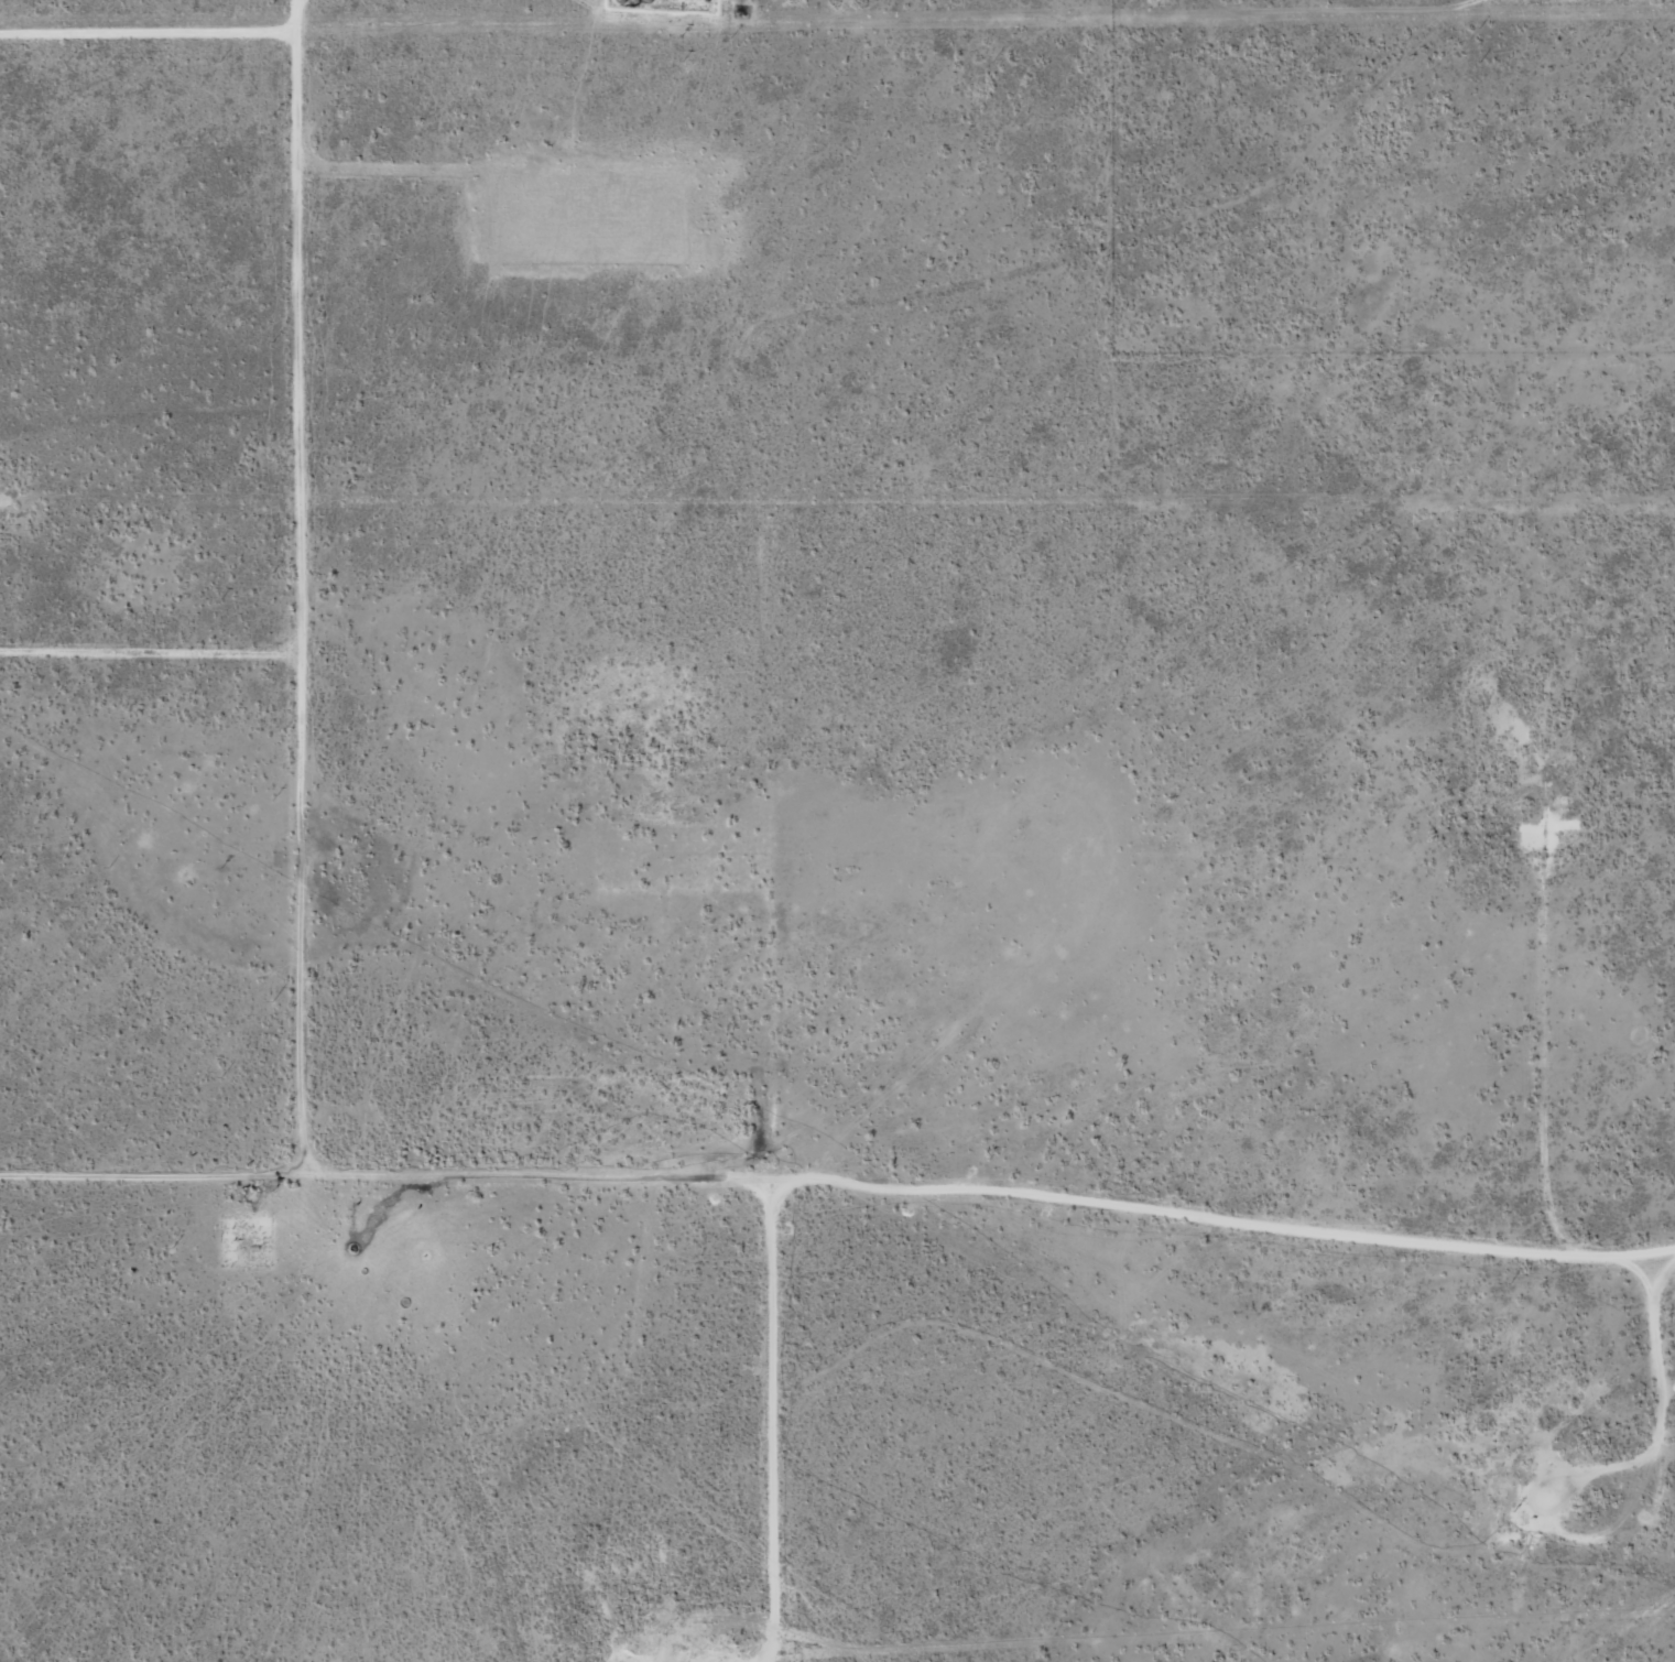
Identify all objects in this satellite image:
road: (1562, 11)
road: (307, 590)
road: (837, 1199)
road: (783, 1430)

